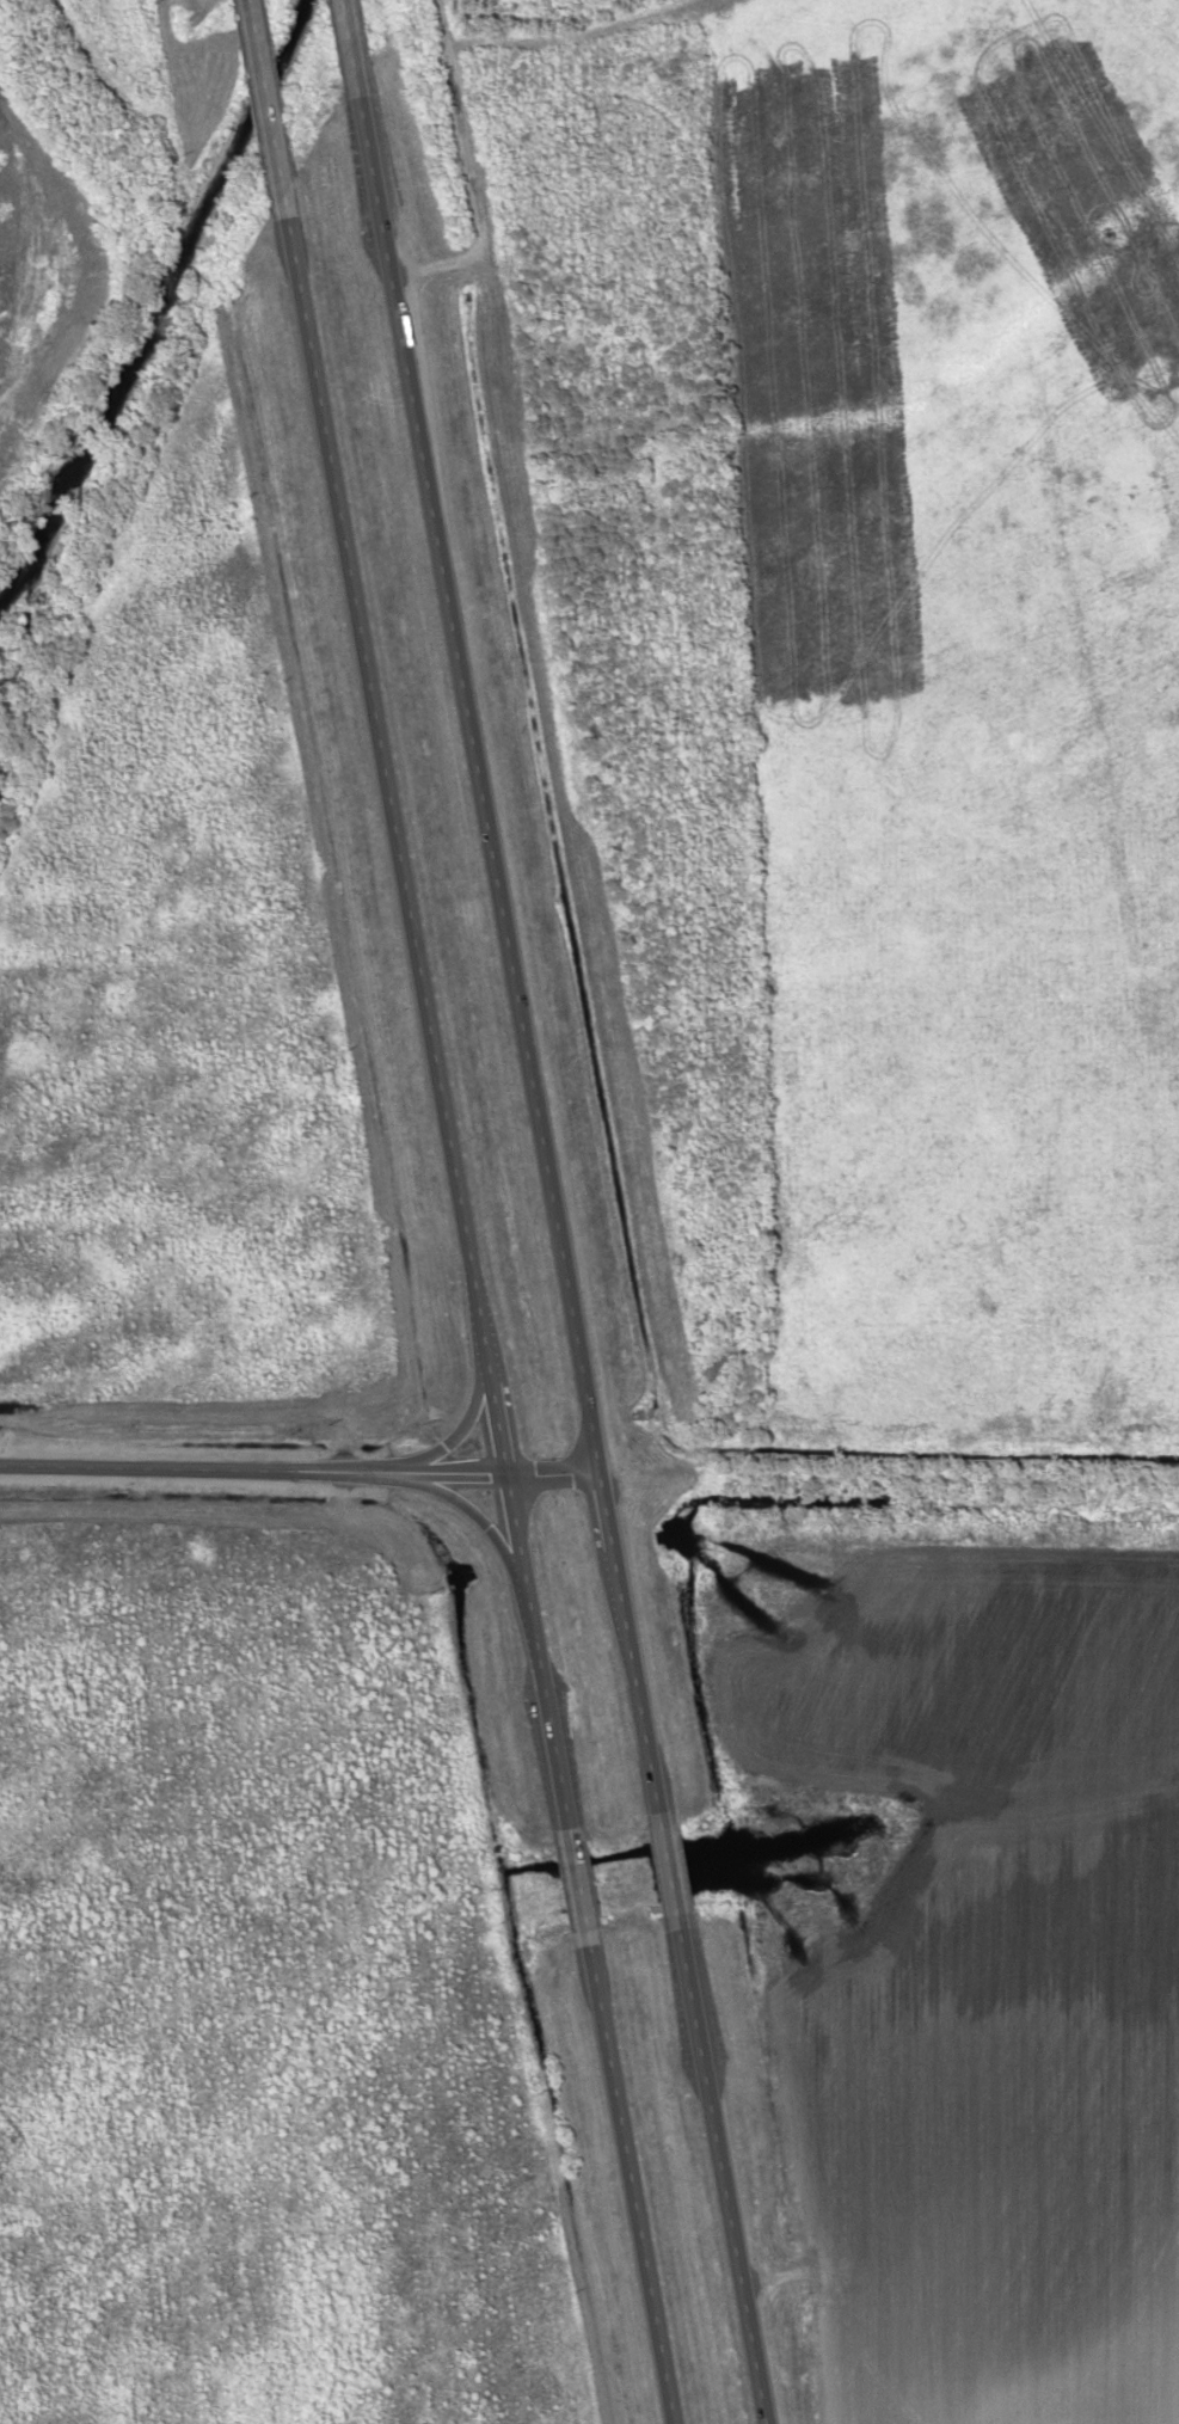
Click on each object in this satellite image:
road: (346, 49)
road: (265, 109)
road: (478, 787)
road: (386, 797)
road: (496, 1425)
road: (300, 1471)
road: (606, 1514)
road: (534, 1652)
road: (634, 1682)
road: (664, 1864)
road: (575, 1888)
road: (718, 2168)
road: (628, 2185)

